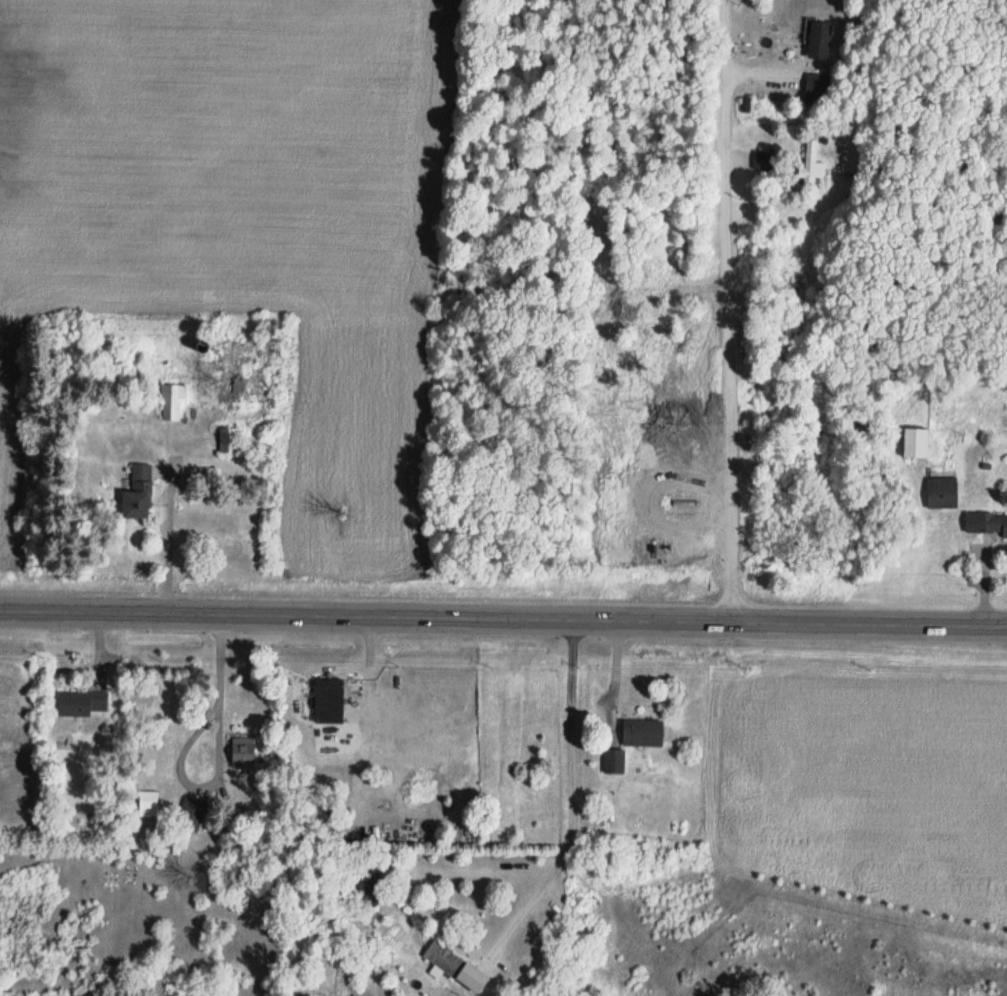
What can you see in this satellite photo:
building: (820, 42)
building: (819, 84)
building: (813, 165)
building: (245, 366)
building: (172, 402)
building: (229, 441)
building: (916, 444)
building: (139, 494)
building: (943, 494)
building: (987, 524)
road: (503, 616)
road: (219, 686)
building: (329, 701)
building: (82, 703)
building: (643, 732)
building: (244, 750)
building: (615, 761)
building: (149, 813)
building: (191, 815)
building: (372, 891)
building: (445, 960)

